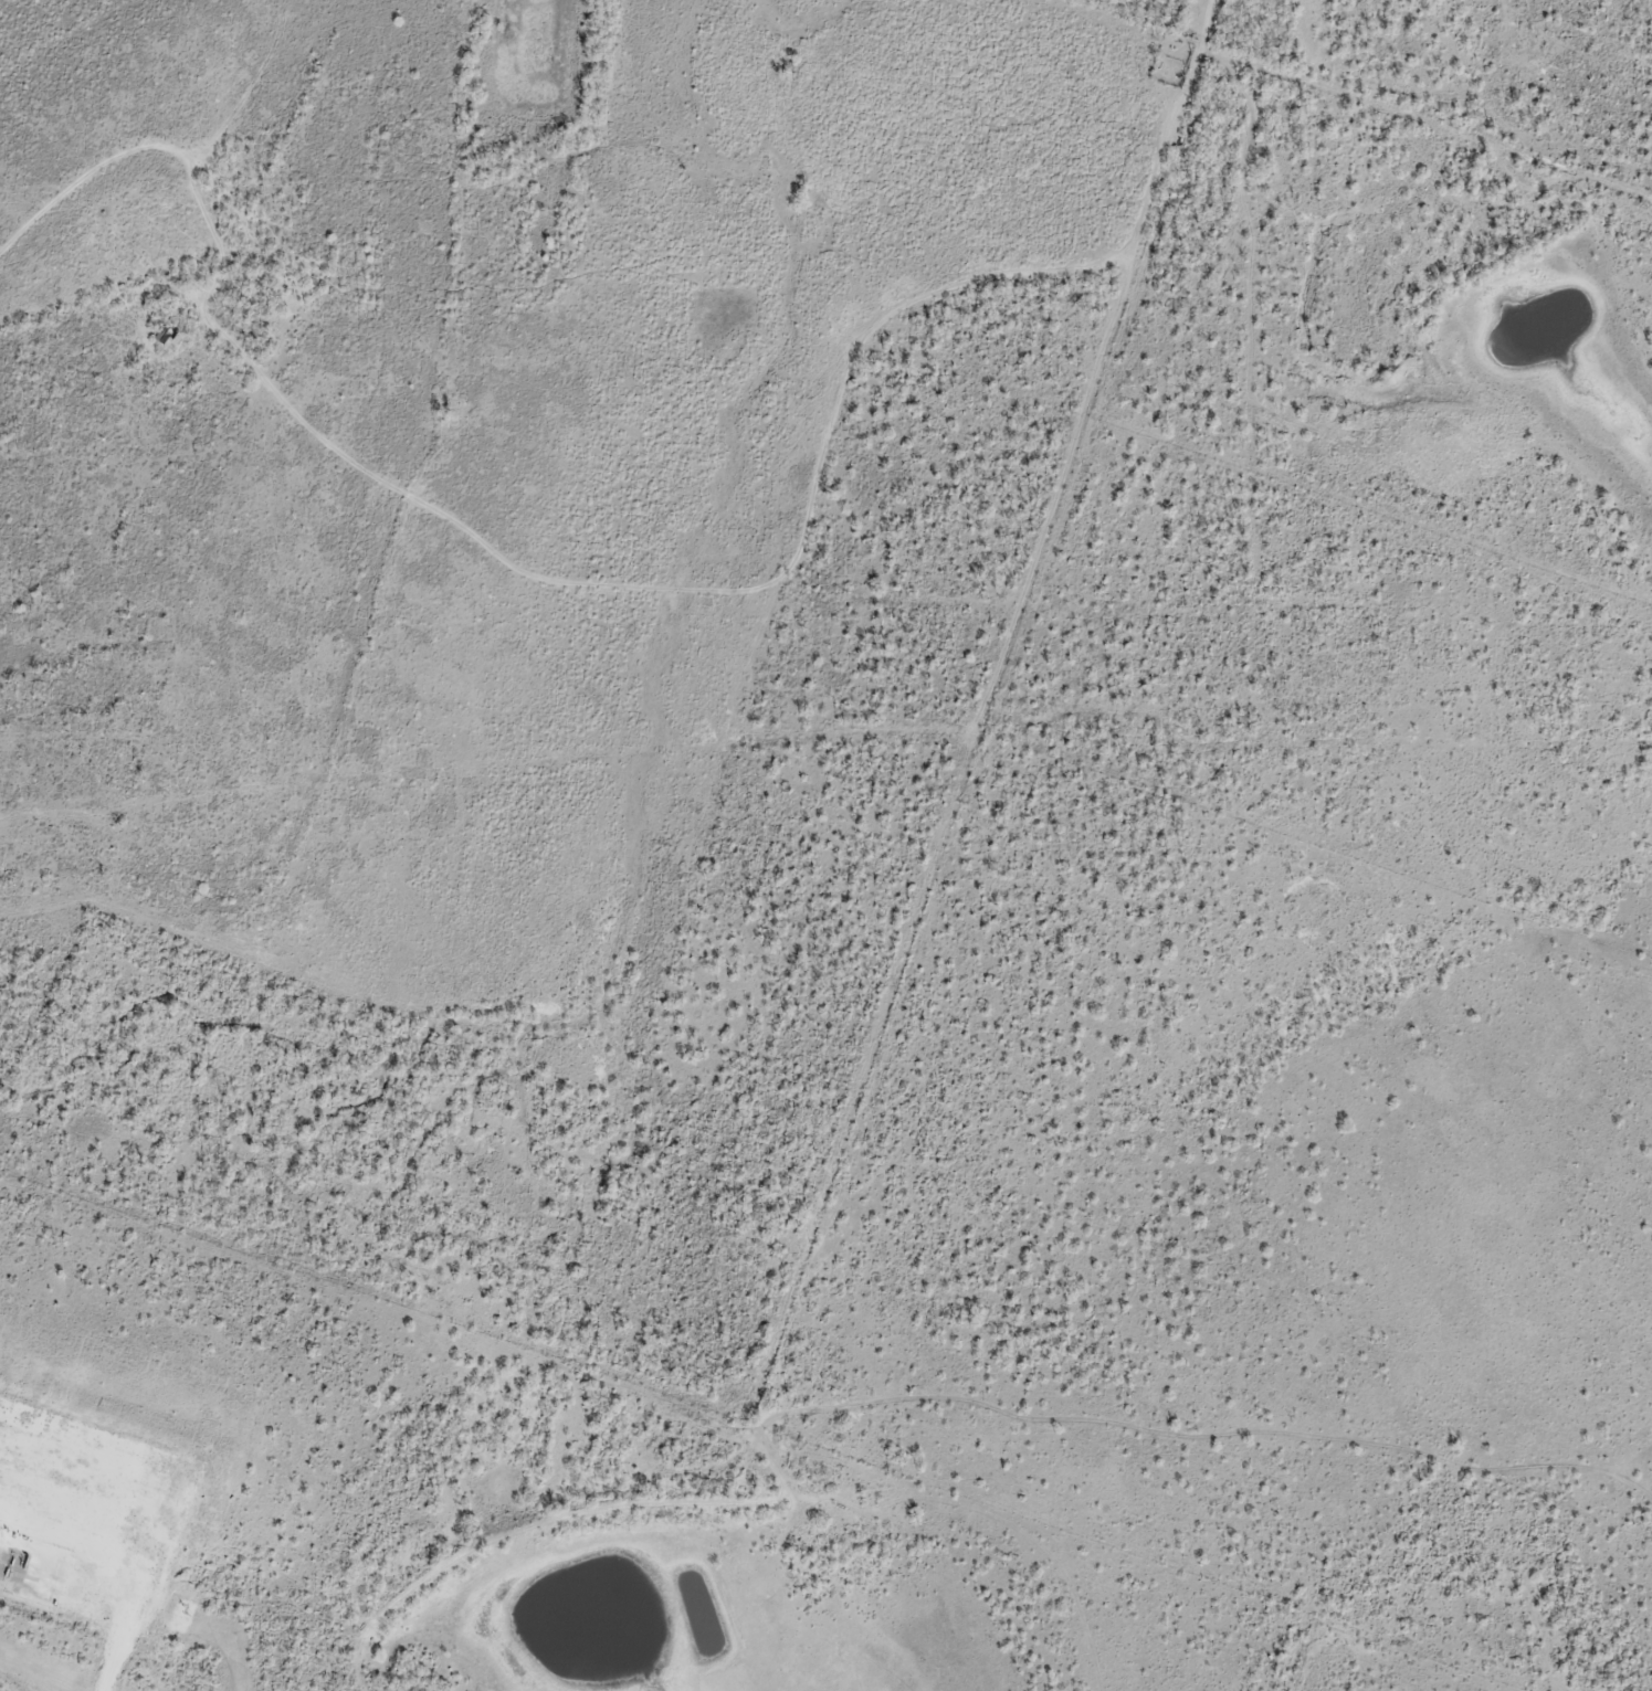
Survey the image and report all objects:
building: (167, 338)
road: (651, 586)

